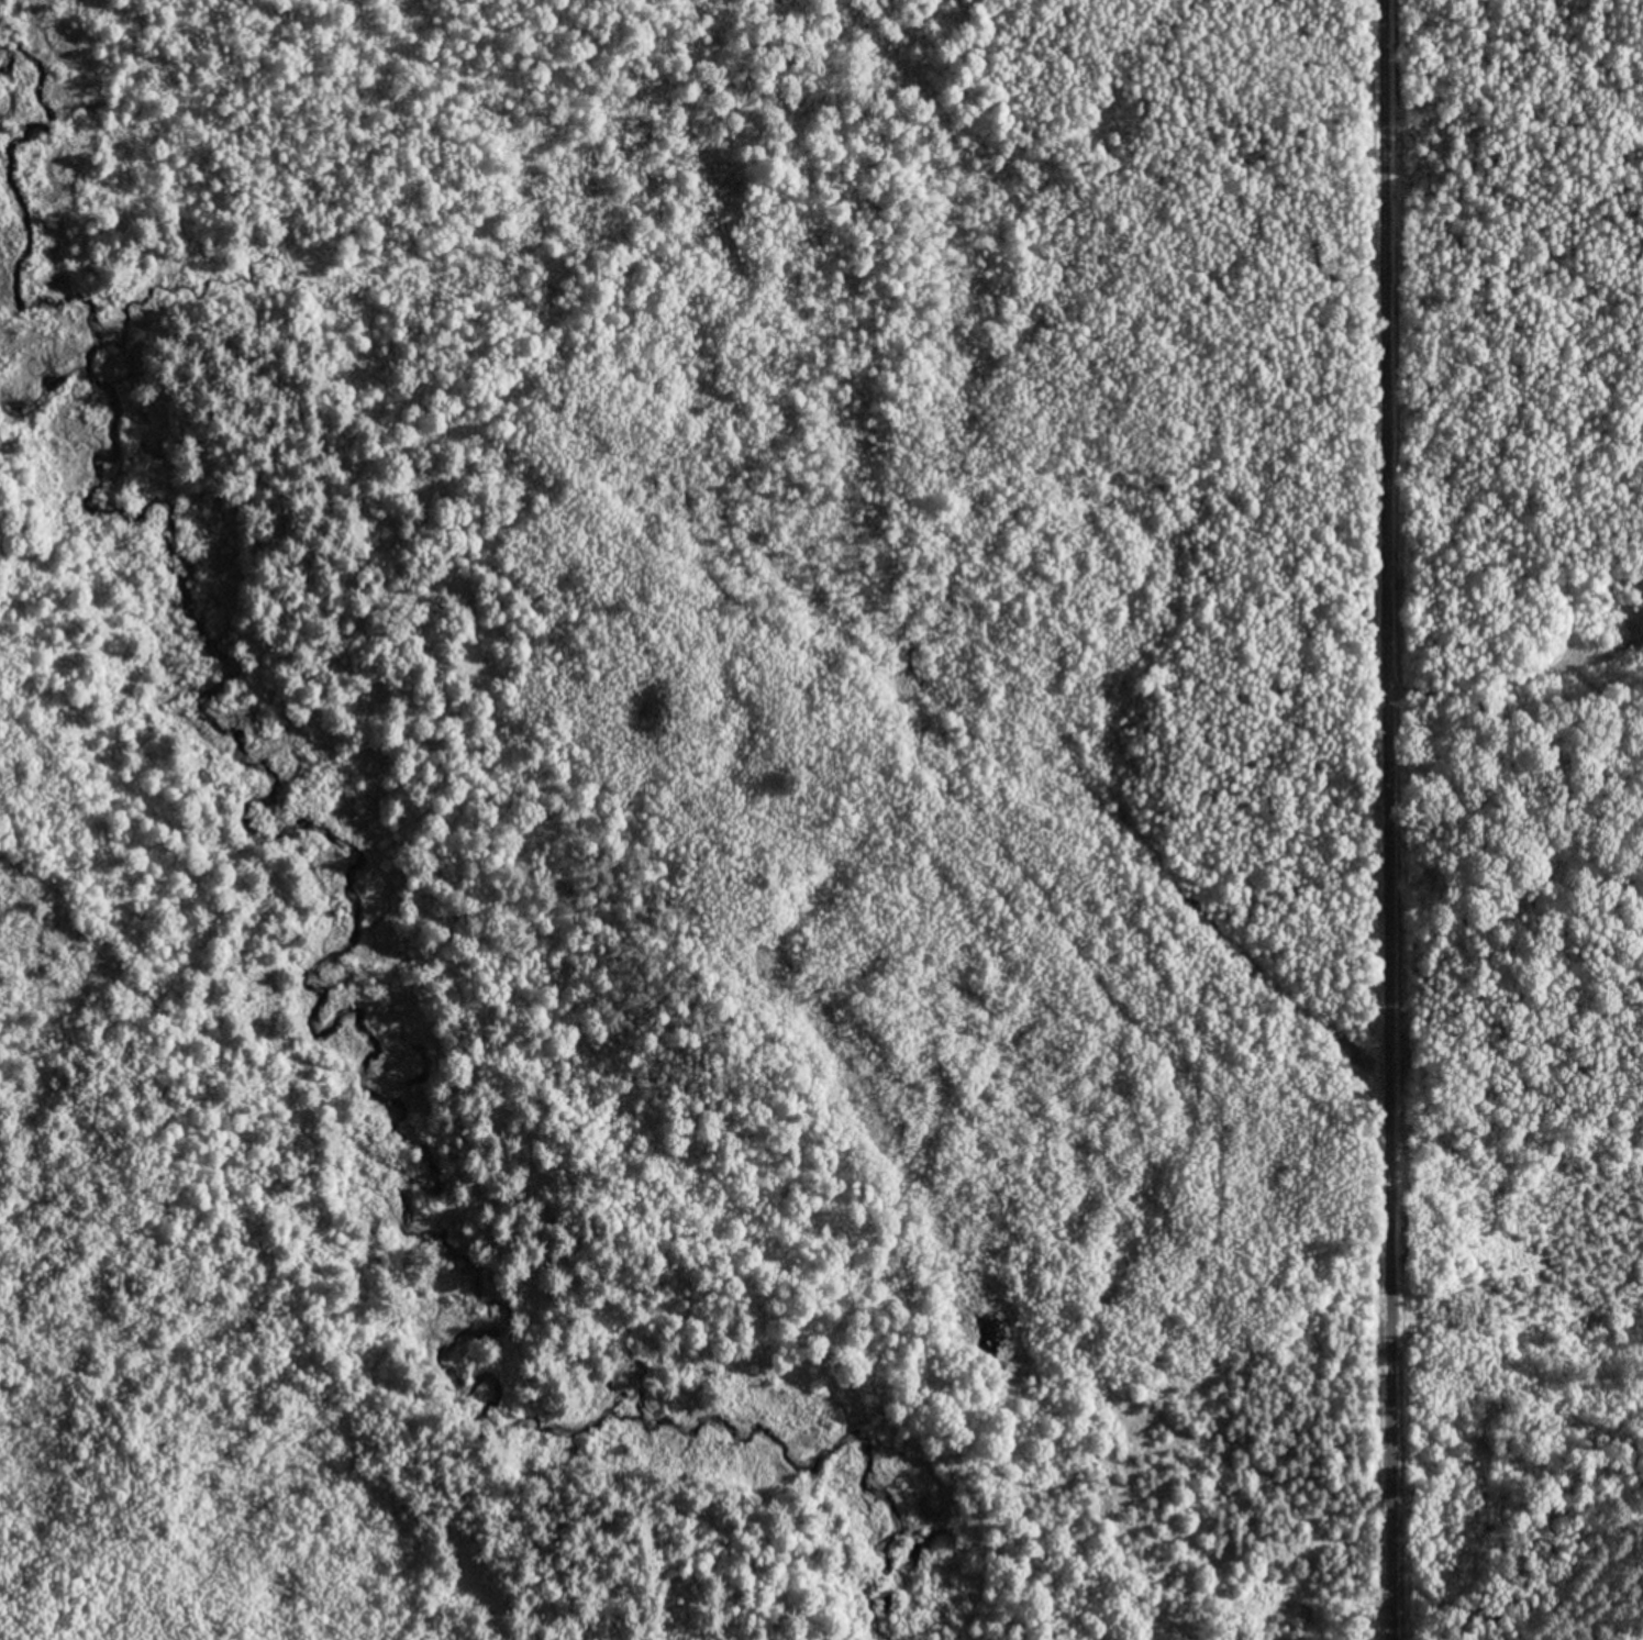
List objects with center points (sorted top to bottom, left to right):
road: (1384, 820)

